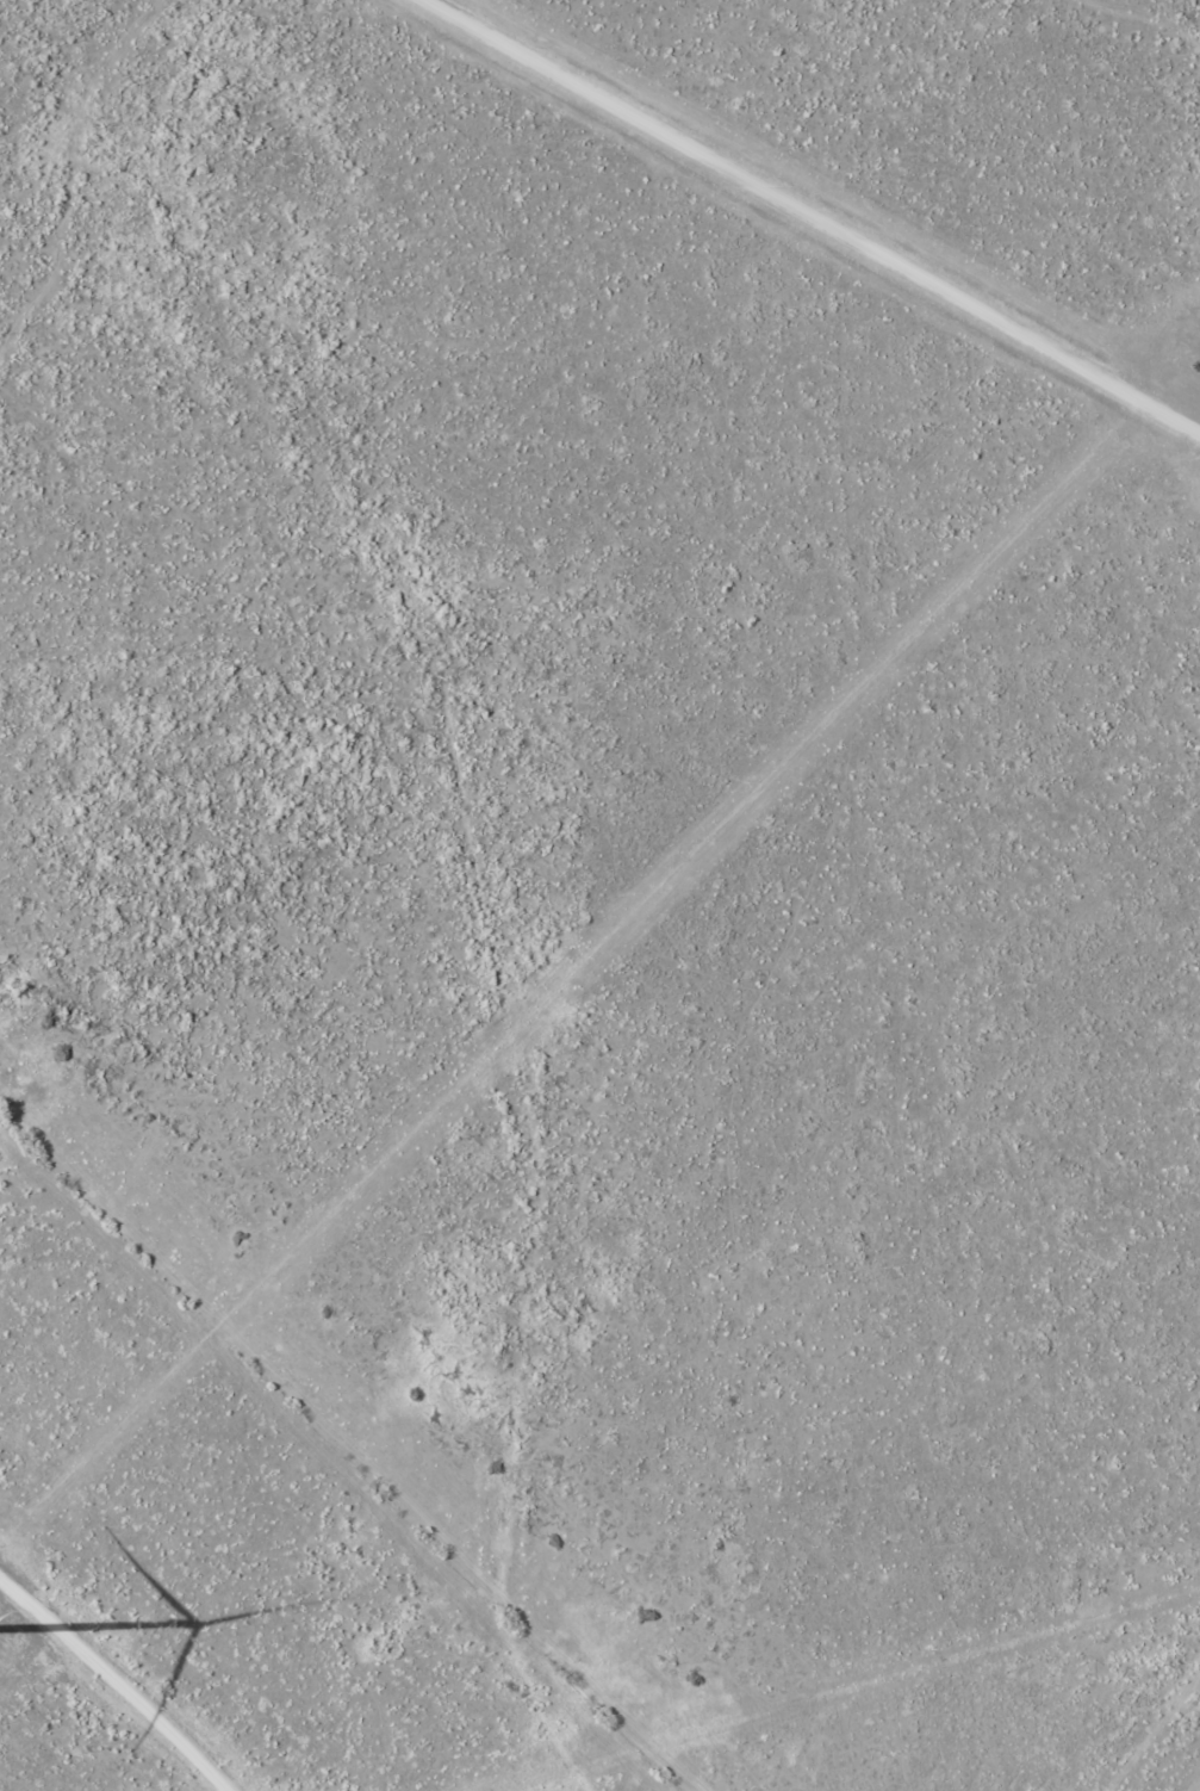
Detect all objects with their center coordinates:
road: (70, 1715)

